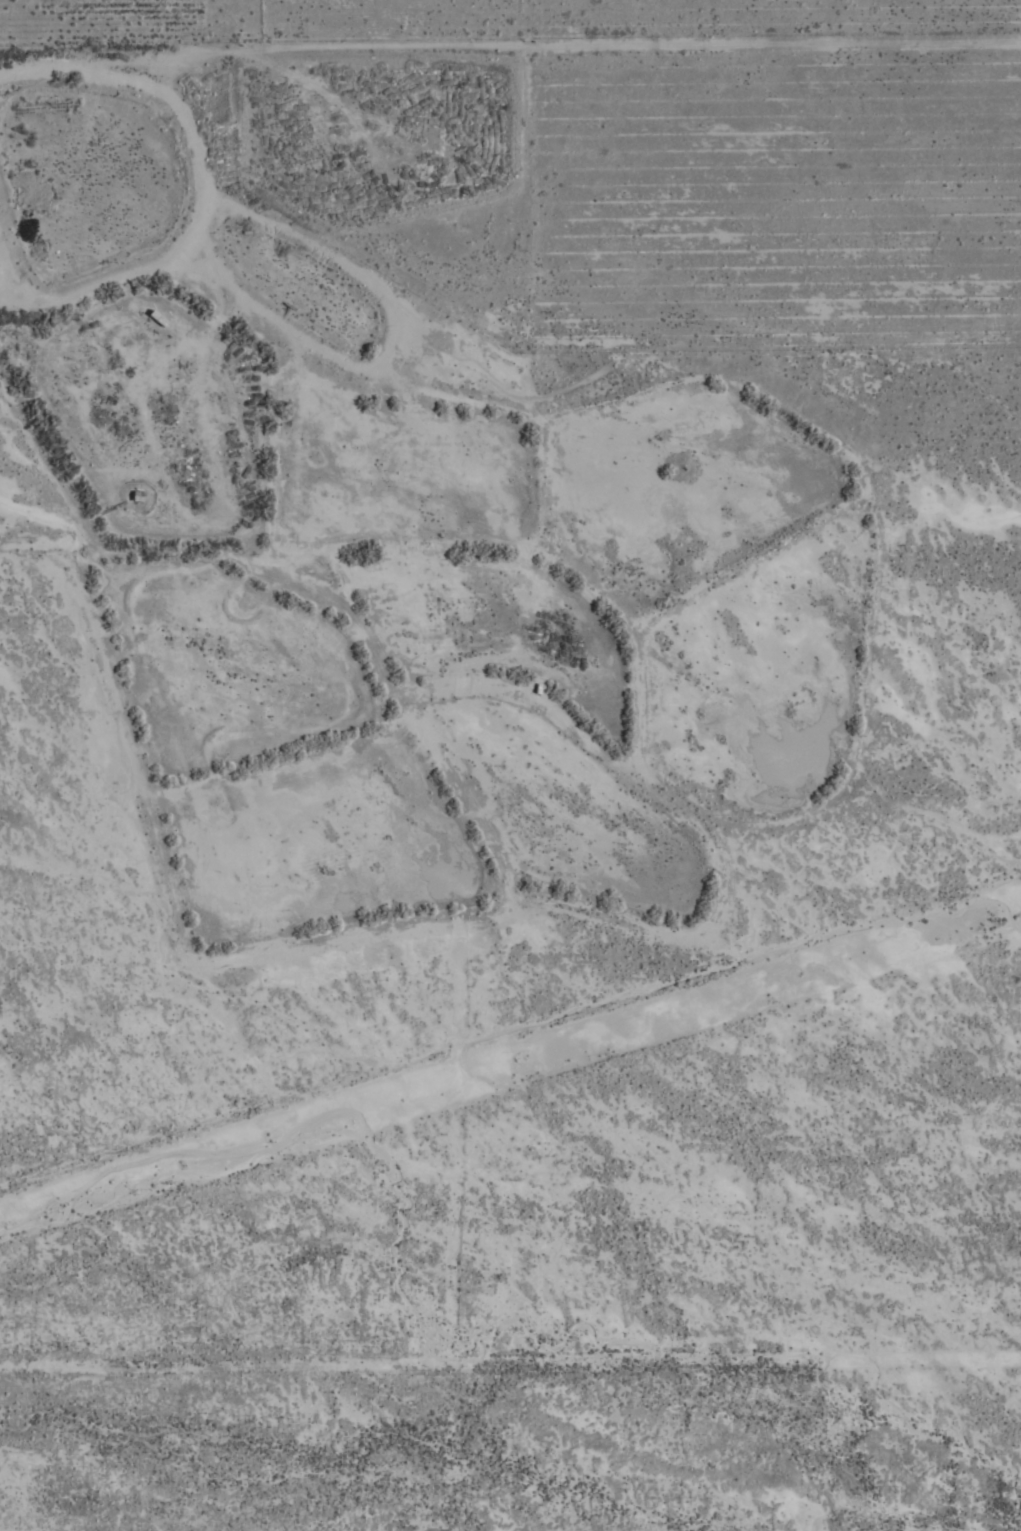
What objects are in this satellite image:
airport runway: (510, 1062)
airport taxiway: (450, 1150)
airport taxiway: (510, 1353)

